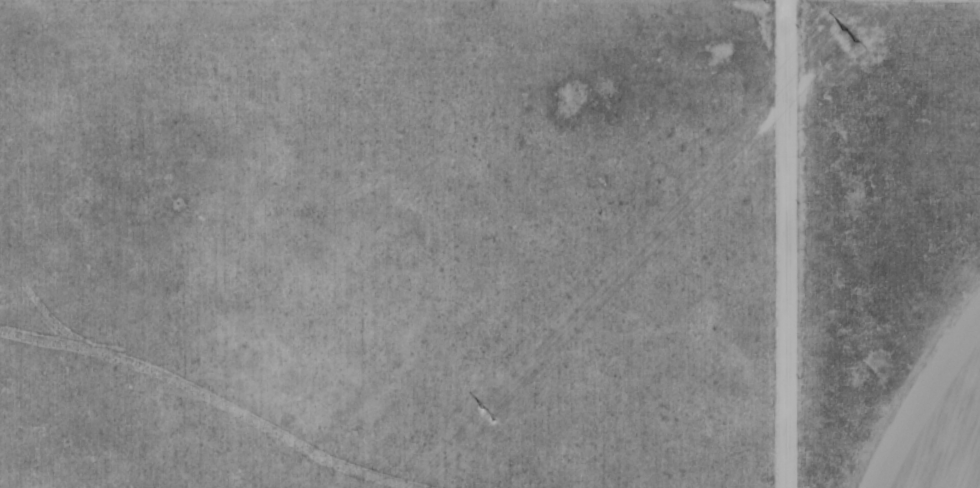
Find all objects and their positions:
power tower: (845, 32)
road: (787, 244)
power tower: (486, 409)

